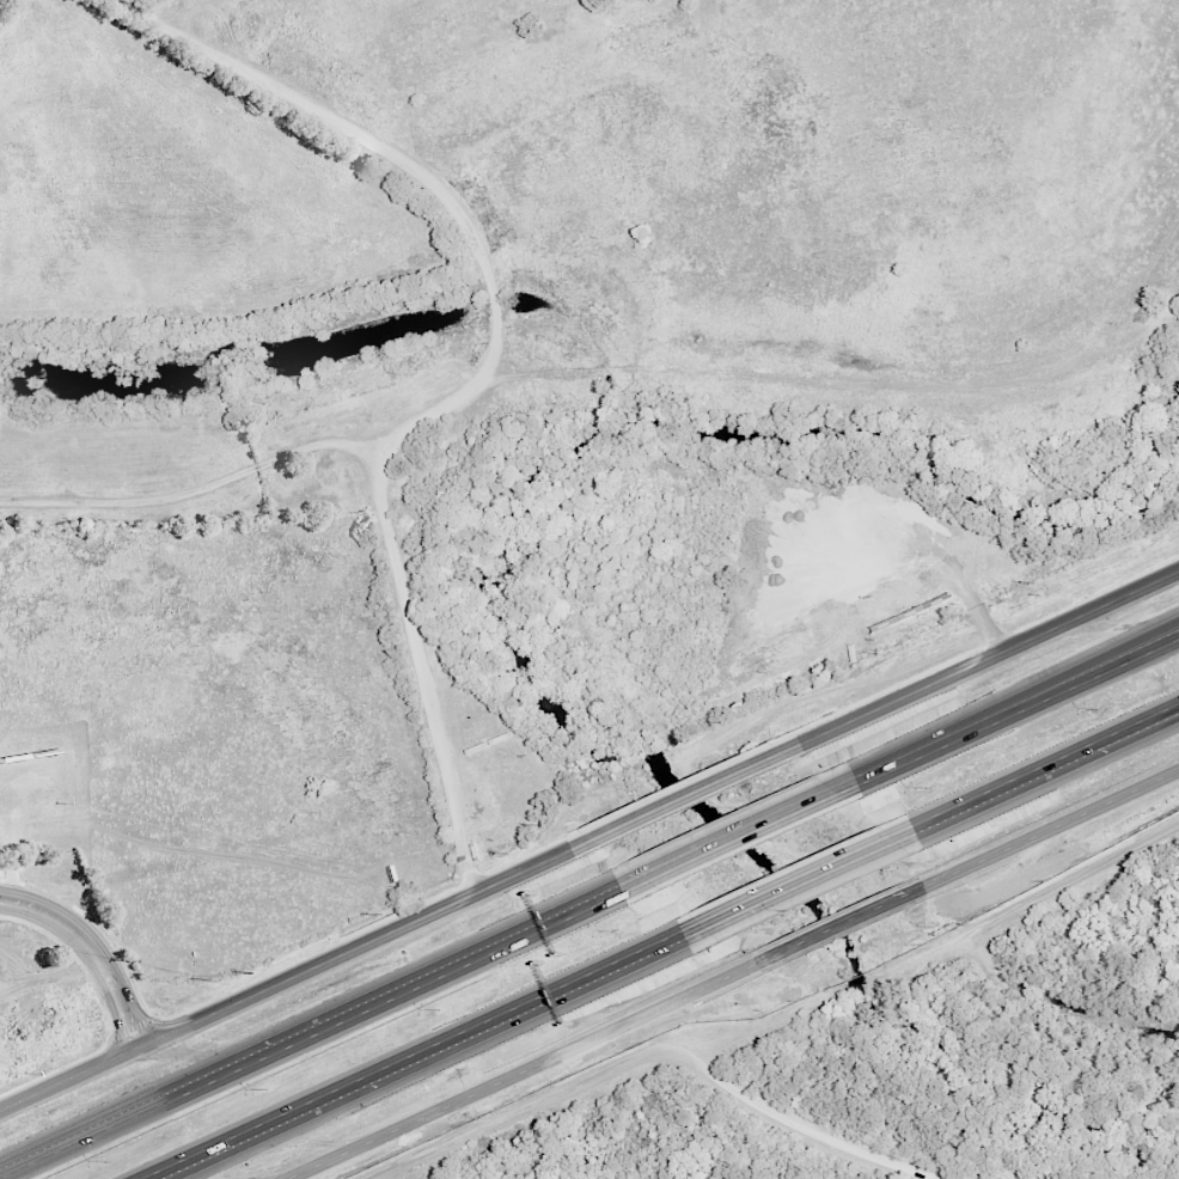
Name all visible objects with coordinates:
road: (481, 375)
road: (195, 491)
road: (1165, 641)
road: (1165, 642)
road: (969, 668)
road: (985, 725)
road: (1022, 780)
road: (682, 799)
road: (1050, 832)
road: (747, 833)
road: (792, 882)
road: (841, 926)
road: (373, 941)
road: (94, 948)
road: (341, 1024)
road: (428, 1047)
road: (650, 1053)
road: (523, 1070)
road: (71, 1080)

